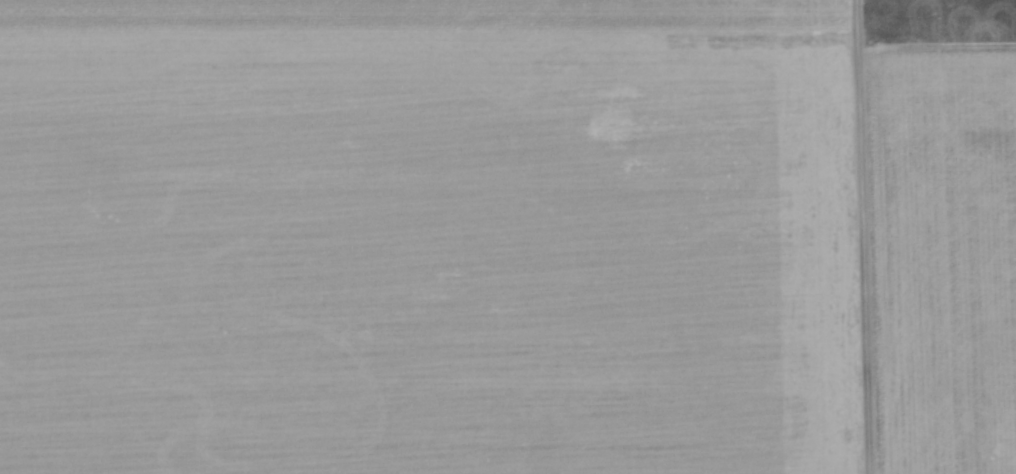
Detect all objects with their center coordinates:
road: (861, 237)
crop: (427, 263)

